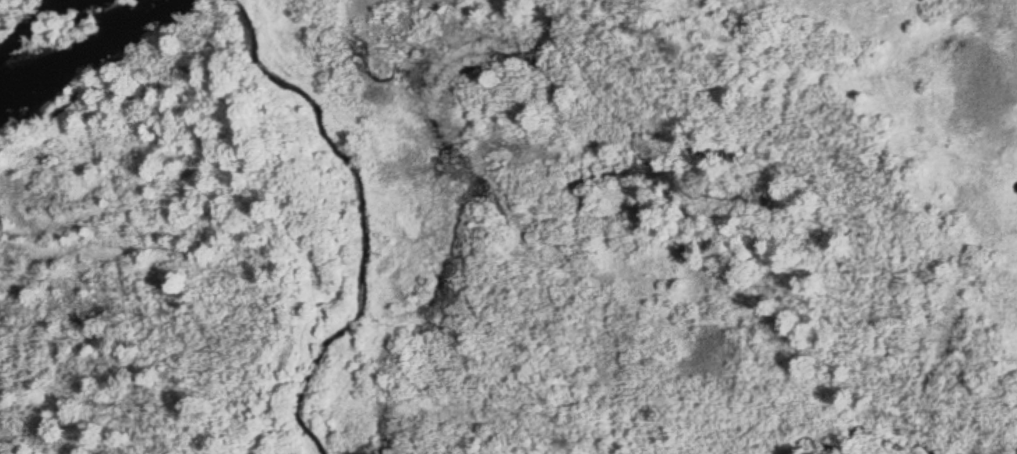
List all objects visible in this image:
river: (82, 55)

